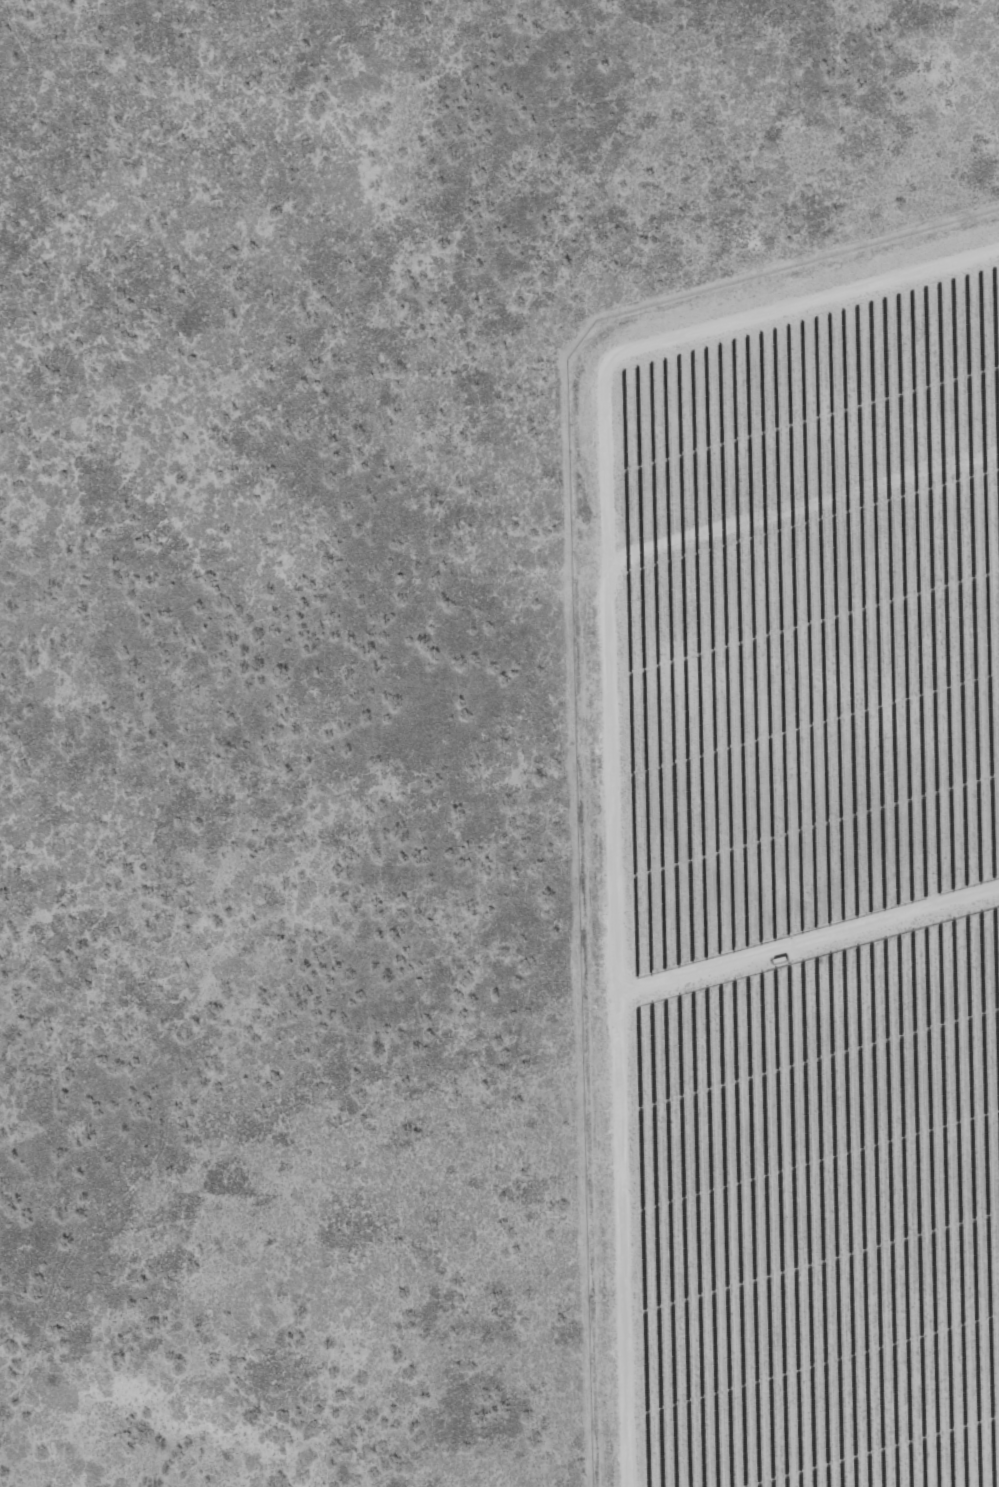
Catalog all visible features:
solar farm: (793, 867)

